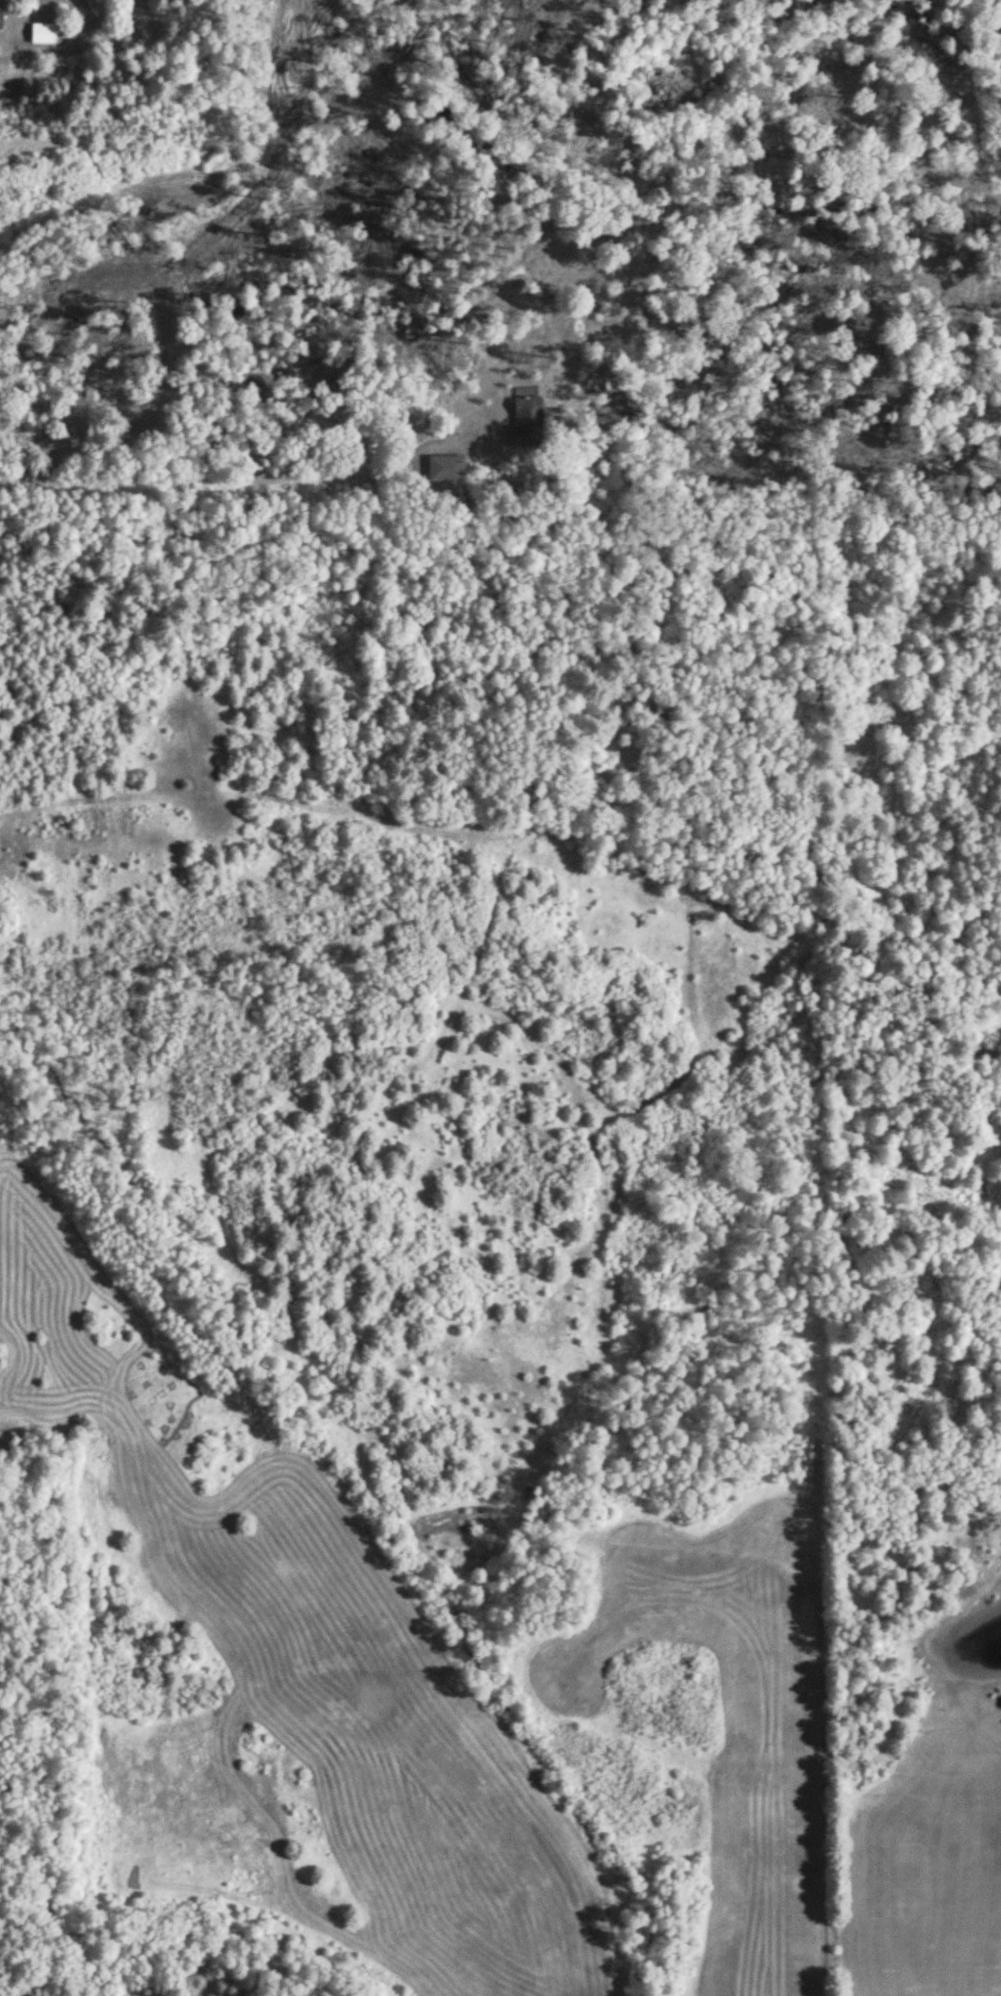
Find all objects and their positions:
building: (0, 21)
building: (40, 34)
building: (525, 423)
road: (242, 473)

